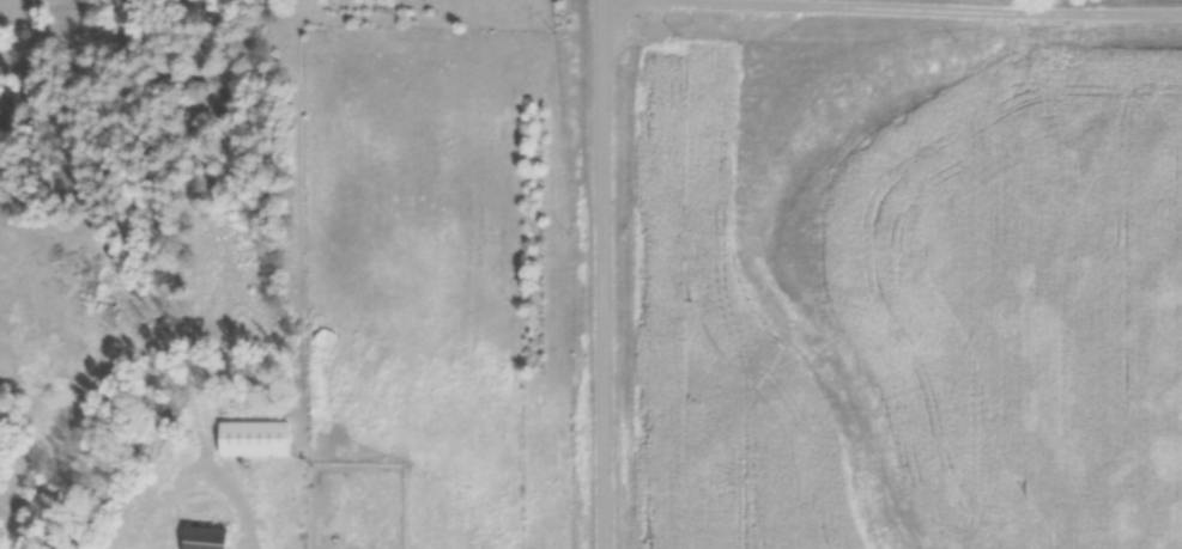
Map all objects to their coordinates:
road: (975, 7)
road: (602, 274)
road: (194, 330)
building: (253, 439)
building: (204, 538)

